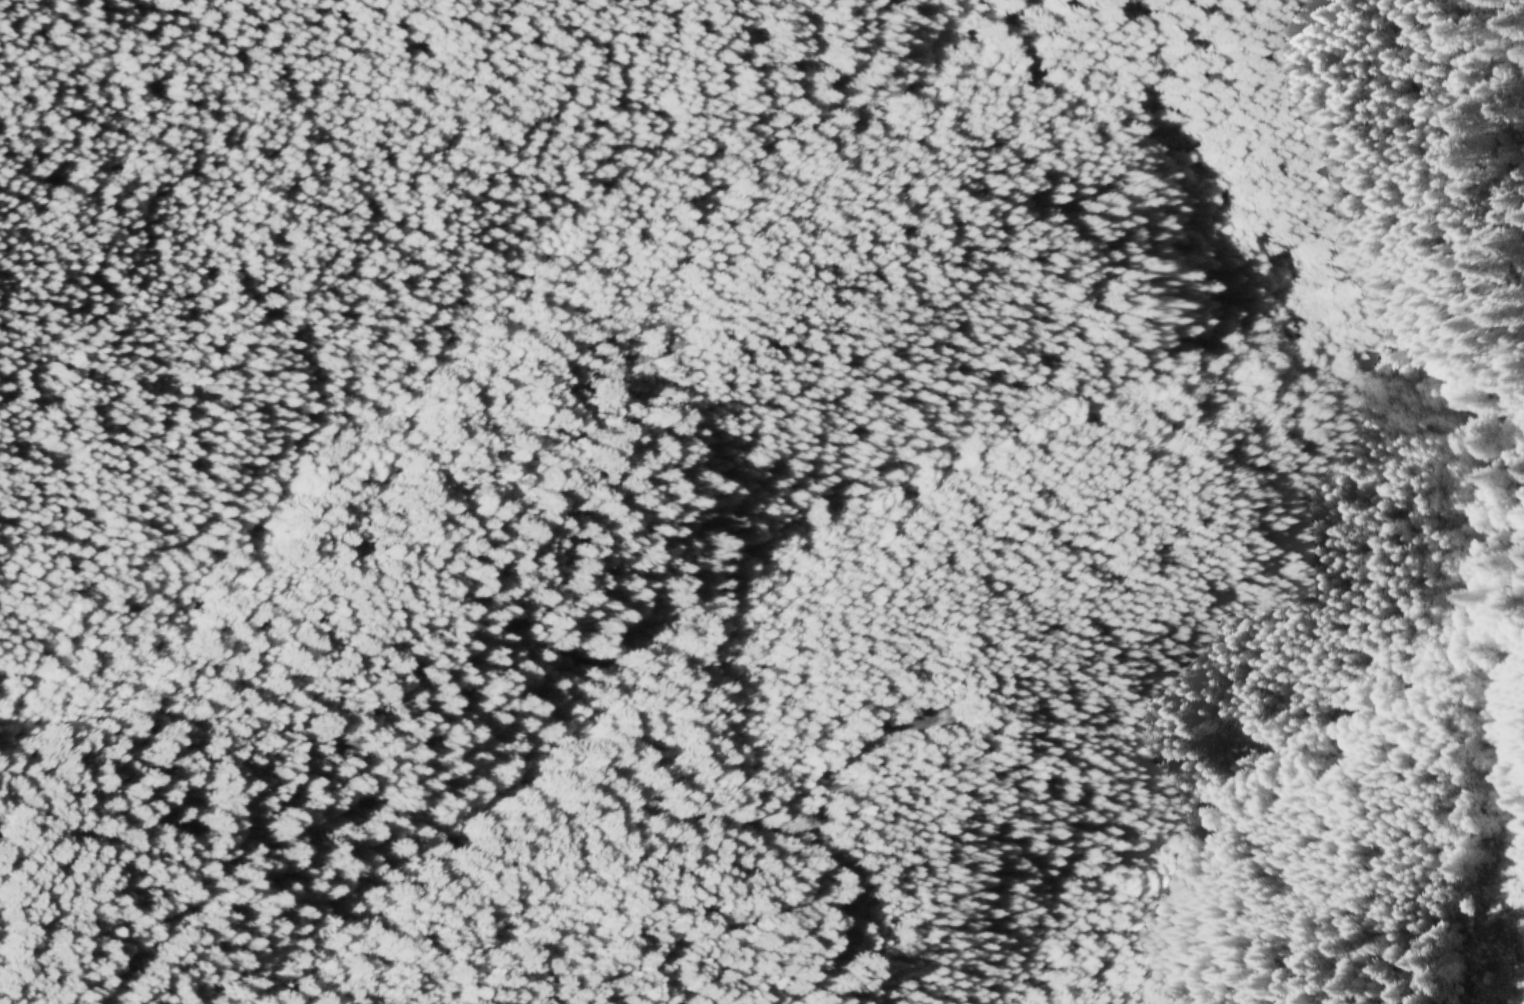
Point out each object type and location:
road: (797, 922)

